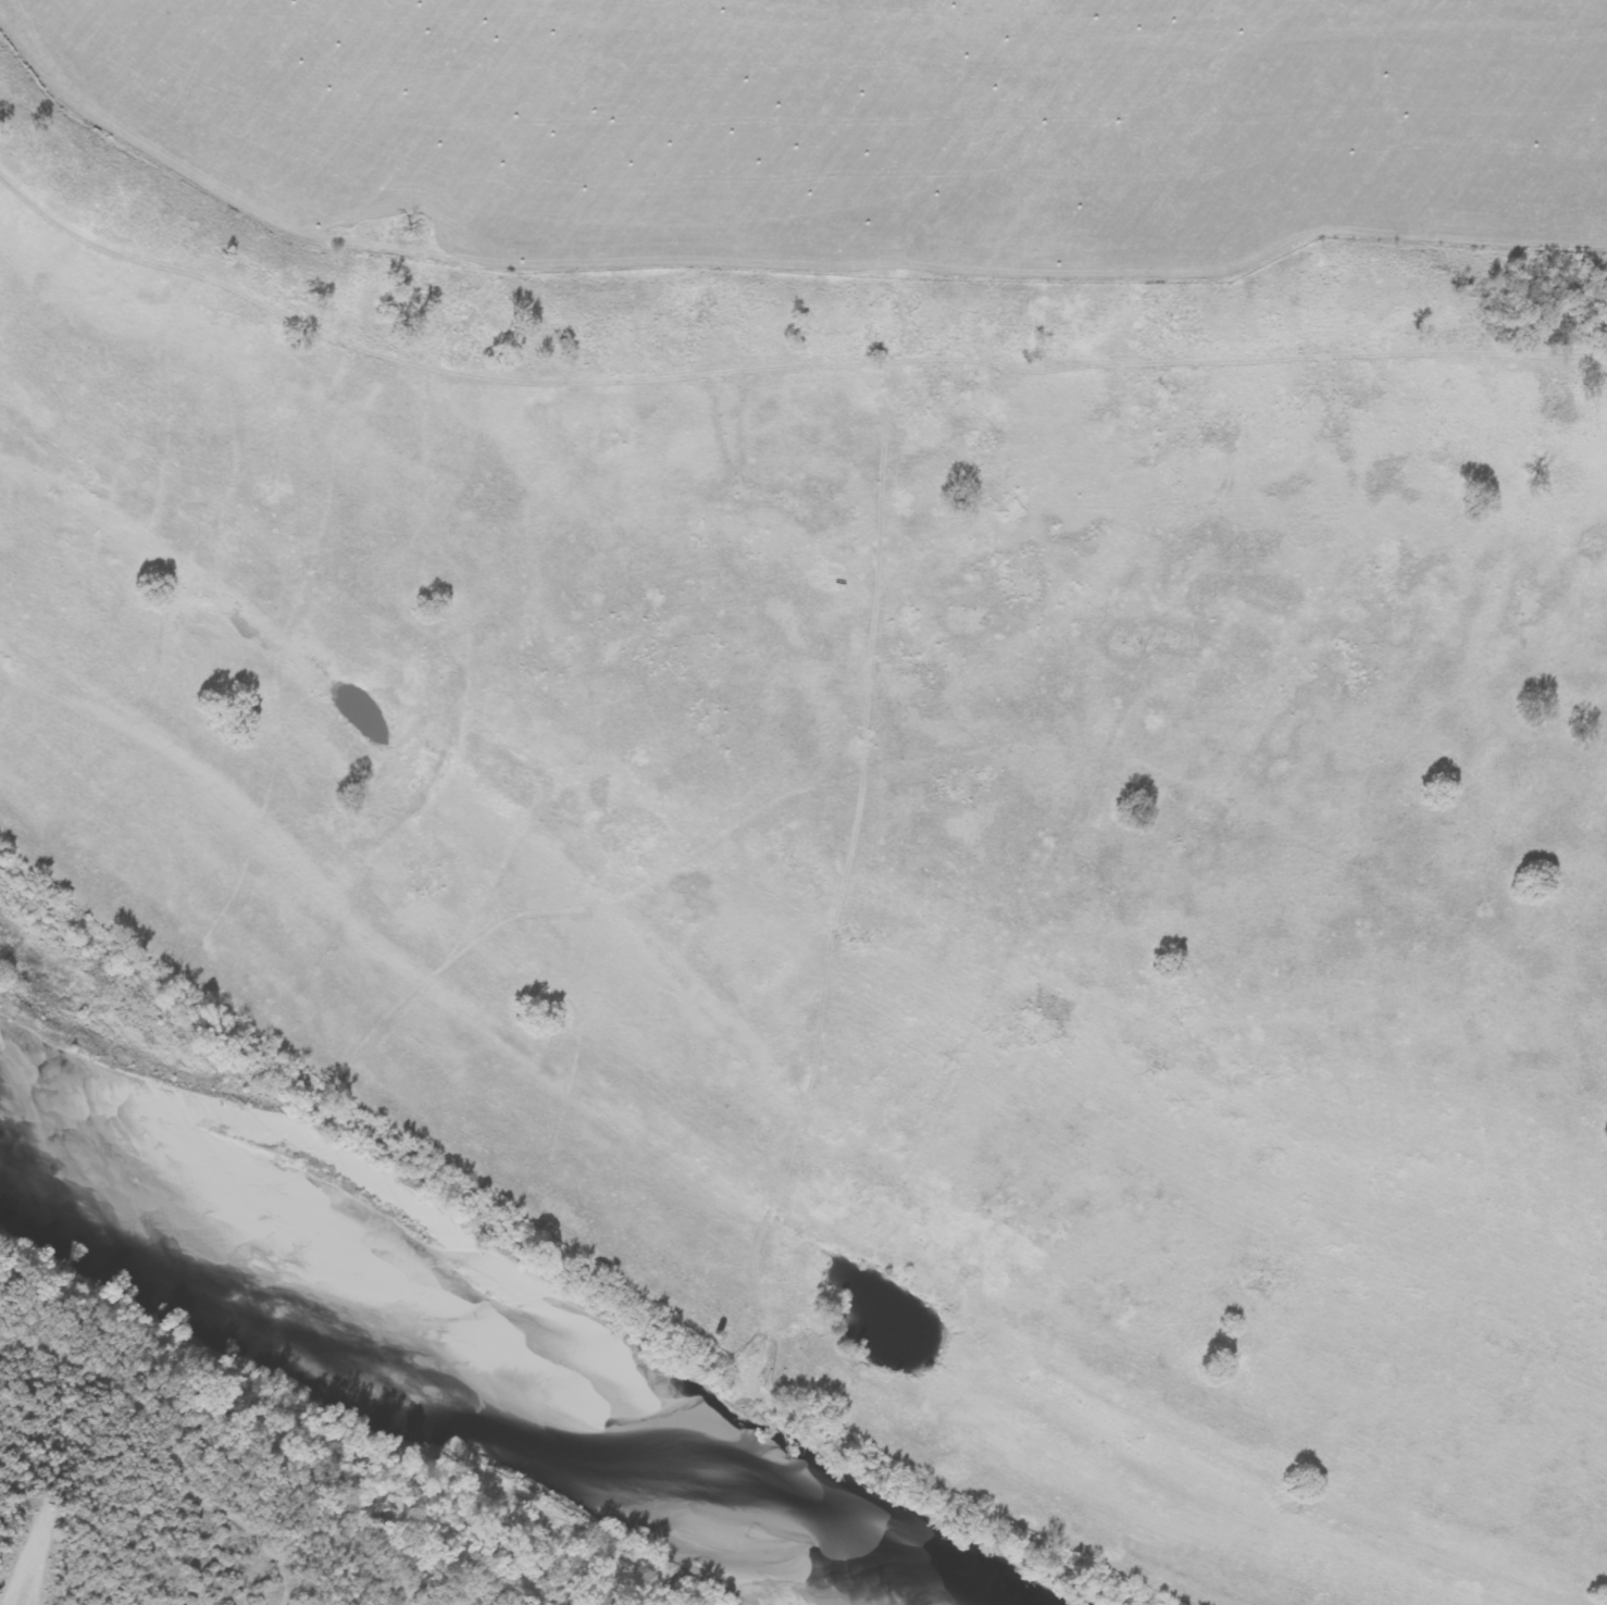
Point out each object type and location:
river: (527, 1372)

